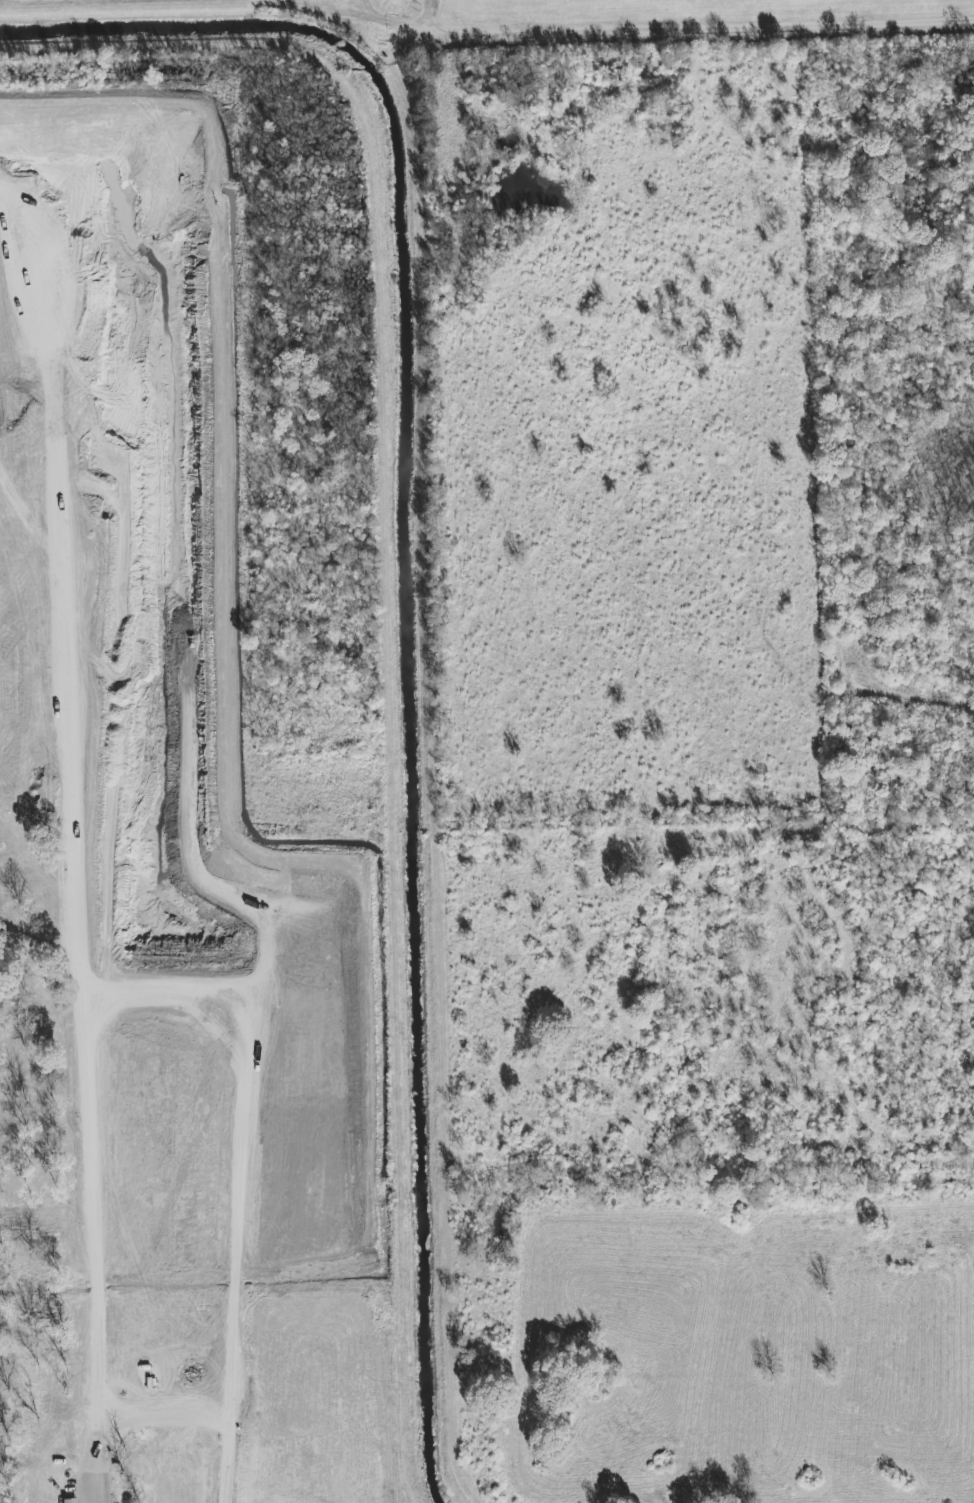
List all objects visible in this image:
road: (690, 48)
road: (439, 783)

